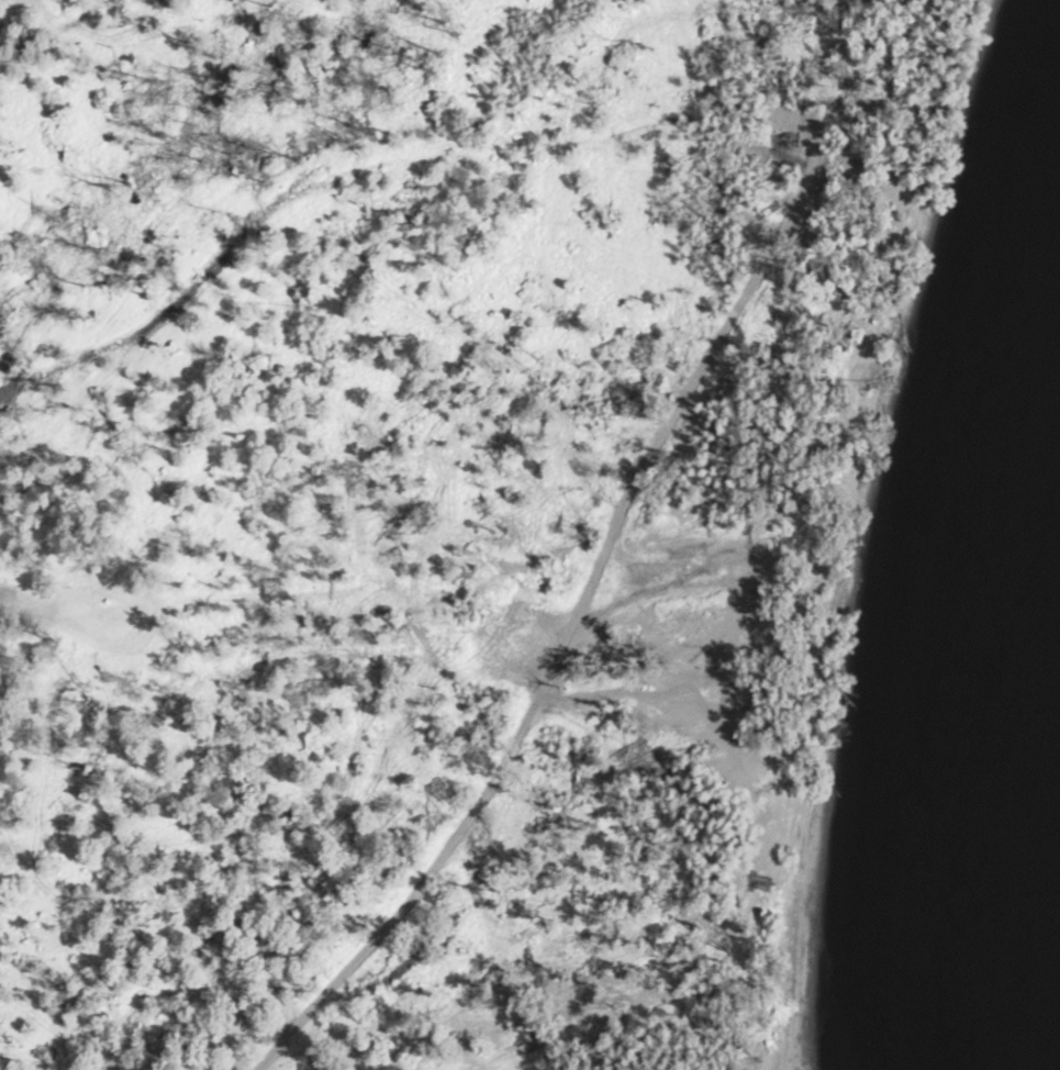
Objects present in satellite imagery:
road: (366, 989)

